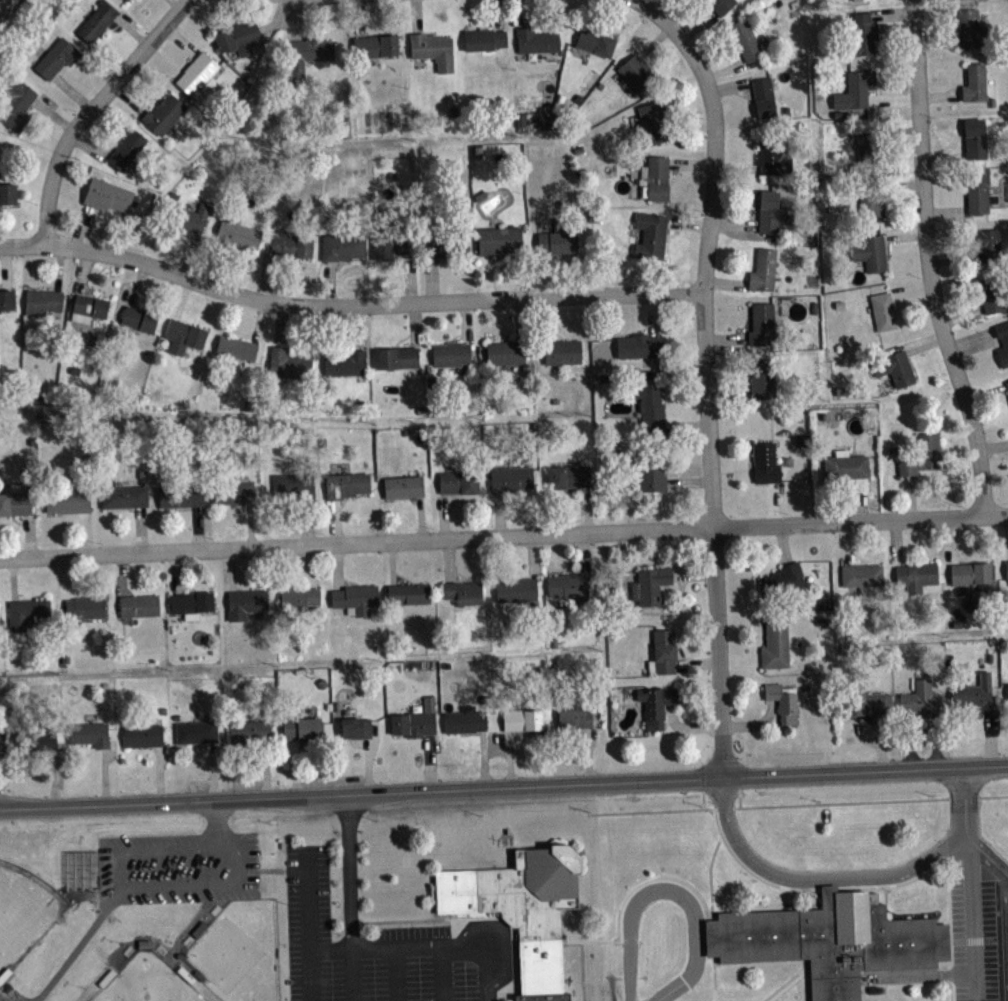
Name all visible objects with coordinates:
building: (127, 0)
building: (972, 0)
building: (861, 2)
road: (176, 3)
road: (654, 5)
building: (721, 5)
road: (520, 14)
road: (892, 14)
road: (496, 15)
road: (589, 15)
road: (658, 15)
road: (416, 16)
road: (358, 18)
road: (278, 20)
road: (294, 20)
building: (96, 21)
road: (699, 25)
building: (969, 28)
road: (130, 30)
building: (862, 35)
building: (237, 37)
road: (181, 39)
building: (483, 39)
building: (537, 40)
road: (653, 40)
building: (744, 40)
road: (937, 40)
building: (595, 42)
building: (374, 46)
building: (432, 50)
building: (305, 56)
building: (55, 58)
road: (723, 67)
building: (196, 72)
building: (635, 72)
building: (974, 82)
road: (730, 88)
road: (73, 91)
building: (854, 91)
road: (940, 94)
building: (762, 97)
road: (892, 98)
road: (127, 100)
building: (991, 102)
building: (16, 104)
road: (89, 110)
road: (53, 114)
building: (163, 114)
building: (653, 122)
road: (691, 126)
road: (898, 128)
building: (974, 136)
building: (867, 143)
road: (91, 144)
building: (126, 150)
building: (771, 155)
road: (943, 155)
road: (691, 164)
road: (737, 169)
building: (655, 176)
road: (902, 184)
building: (7, 191)
building: (976, 192)
building: (107, 195)
building: (869, 197)
building: (767, 209)
road: (946, 209)
building: (186, 218)
road: (734, 223)
road: (688, 224)
road: (81, 226)
building: (236, 232)
building: (650, 235)
road: (905, 235)
building: (499, 240)
building: (557, 242)
building: (985, 242)
building: (447, 244)
building: (291, 246)
building: (342, 246)
building: (391, 246)
building: (869, 252)
road: (188, 256)
road: (954, 258)
road: (928, 260)
road: (215, 264)
road: (5, 267)
road: (58, 268)
building: (762, 269)
road: (82, 270)
road: (542, 274)
road: (486, 276)
road: (407, 277)
road: (273, 278)
road: (432, 279)
road: (726, 281)
road: (137, 283)
road: (329, 283)
road: (911, 290)
building: (989, 292)
building: (7, 297)
road: (182, 298)
building: (42, 299)
building: (89, 303)
road: (347, 305)
building: (883, 310)
road: (654, 313)
road: (961, 314)
building: (139, 316)
road: (546, 317)
road: (518, 319)
road: (257, 320)
road: (464, 320)
road: (412, 323)
building: (762, 323)
road: (281, 324)
road: (357, 326)
building: (183, 334)
road: (727, 338)
road: (970, 338)
building: (1002, 341)
building: (638, 344)
road: (924, 344)
building: (236, 346)
building: (562, 350)
building: (450, 352)
building: (505, 352)
building: (396, 356)
building: (345, 361)
building: (288, 362)
building: (894, 366)
building: (762, 377)
building: (1006, 384)
road: (986, 391)
road: (728, 392)
road: (707, 401)
building: (650, 408)
road: (686, 425)
road: (993, 445)
building: (921, 453)
building: (765, 461)
building: (847, 467)
building: (652, 470)
building: (567, 474)
building: (510, 477)
road: (688, 480)
building: (458, 481)
building: (346, 482)
building: (294, 483)
building: (403, 484)
building: (234, 488)
building: (180, 493)
building: (123, 494)
road: (909, 495)
building: (67, 499)
building: (15, 501)
road: (773, 502)
road: (861, 505)
road: (585, 508)
road: (499, 513)
road: (443, 516)
road: (420, 517)
road: (335, 520)
road: (307, 521)
road: (250, 523)
road: (197, 527)
road: (140, 528)
road: (84, 532)
road: (27, 534)
road: (503, 535)
road: (1007, 536)
road: (951, 539)
road: (897, 542)
road: (782, 543)
road: (845, 543)
road: (581, 553)
road: (531, 556)
road: (448, 560)
road: (391, 562)
road: (311, 565)
road: (337, 566)
road: (230, 568)
building: (1006, 568)
road: (175, 572)
building: (970, 572)
road: (121, 573)
road: (693, 574)
building: (862, 575)
road: (67, 576)
building: (916, 576)
road: (12, 578)
building: (783, 579)
building: (649, 584)
building: (568, 586)
building: (516, 588)
building: (463, 591)
building: (407, 592)
building: (300, 594)
building: (355, 596)
building: (192, 600)
building: (244, 601)
building: (138, 603)
building: (303, 603)
building: (84, 606)
building: (27, 611)
building: (0, 625)
building: (775, 643)
building: (662, 652)
road: (740, 659)
road: (697, 664)
building: (1007, 689)
building: (973, 691)
building: (919, 697)
building: (865, 700)
building: (782, 701)
building: (655, 704)
building: (573, 715)
building: (521, 718)
building: (414, 719)
building: (464, 720)
road: (754, 722)
building: (301, 726)
building: (354, 726)
road: (685, 726)
building: (247, 729)
building: (195, 730)
road: (858, 730)
building: (89, 732)
building: (141, 734)
road: (987, 736)
building: (35, 737)
building: (2, 738)
road: (936, 738)
road: (911, 739)
road: (881, 741)
building: (47, 748)
road: (588, 754)
road: (482, 757)
road: (509, 757)
road: (430, 761)
road: (367, 764)
road: (294, 766)
road: (265, 768)
road: (212, 770)
road: (158, 772)
road: (103, 775)
road: (52, 777)
road: (504, 786)
road: (0, 793)
road: (739, 794)
road: (992, 795)
road: (966, 797)
road: (858, 801)
road: (719, 807)
road: (688, 808)
road: (217, 823)
road: (971, 835)
road: (993, 853)
parking lot: (179, 866)
road: (932, 868)
road: (711, 869)
road: (350, 870)
road: (1005, 877)
road: (818, 879)
road: (138, 886)
road: (634, 888)
road: (797, 888)
road: (669, 891)
road: (1005, 899)
road: (308, 900)
park: (24, 908)
building: (522, 909)
road: (973, 914)
parking lot: (980, 926)
road: (950, 931)
building: (831, 940)
building: (144, 942)
road: (77, 944)
road: (425, 947)
parking lot: (368, 948)
park: (240, 951)
road: (397, 974)
road: (441, 974)
road: (309, 975)
road: (351, 975)
road: (714, 978)
park: (148, 981)
road: (787, 982)

